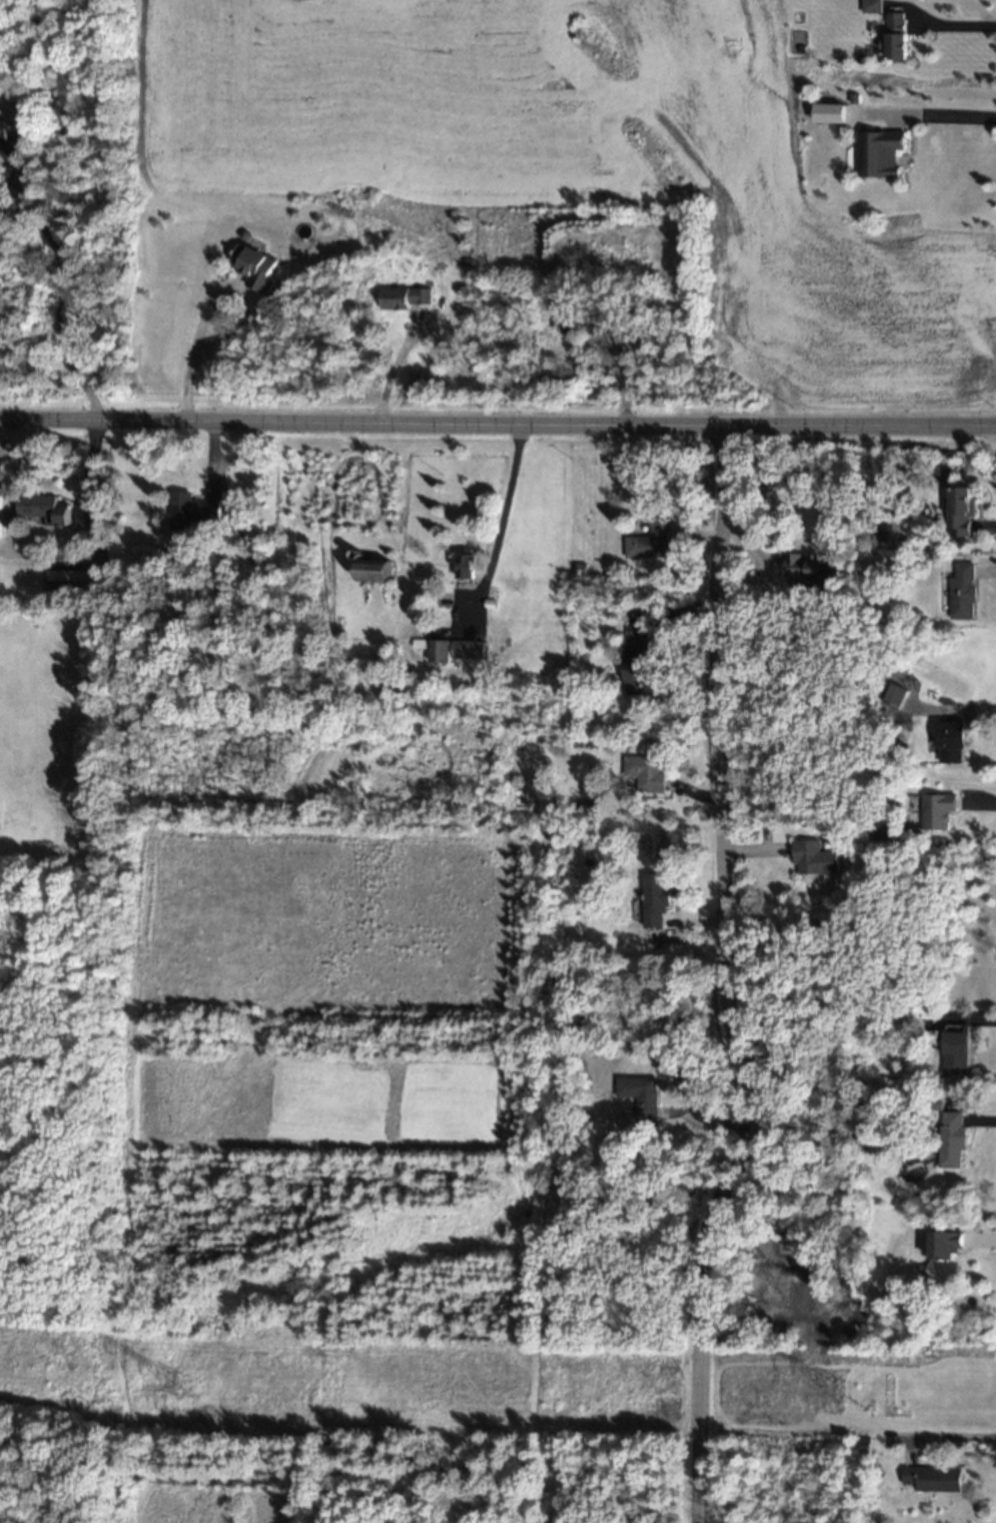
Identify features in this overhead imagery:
building: (872, 6)
road: (958, 27)
building: (895, 37)
building: (829, 114)
road: (946, 122)
building: (11, 142)
building: (879, 154)
crop: (565, 155)
building: (254, 268)
building: (404, 298)
road: (59, 319)
building: (631, 341)
road: (392, 371)
road: (188, 372)
road: (498, 426)
building: (44, 509)
building: (191, 511)
building: (962, 512)
building: (1, 517)
building: (82, 517)
road: (501, 522)
building: (881, 539)
building: (649, 542)
building: (465, 566)
building: (806, 567)
building: (375, 571)
building: (68, 583)
building: (962, 592)
building: (468, 650)
building: (440, 652)
building: (640, 671)
building: (951, 743)
building: (647, 773)
building: (937, 811)
building: (814, 859)
building: (656, 900)
road: (720, 976)
building: (956, 1054)
building: (641, 1096)
building: (953, 1140)
building: (947, 1245)
road: (628, 1255)
power tower: (179, 1387)
power tower: (847, 1393)
road: (949, 1437)
building: (934, 1479)

